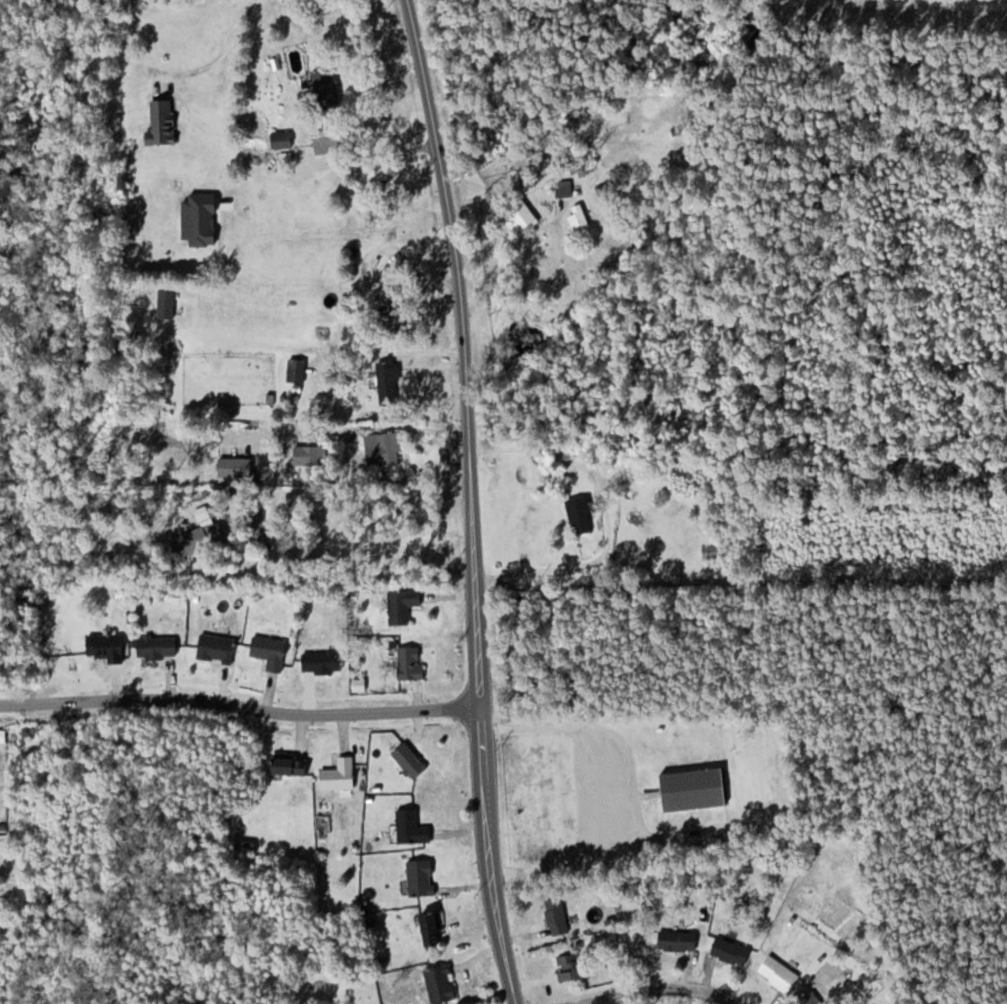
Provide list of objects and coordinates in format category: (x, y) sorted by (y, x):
road: (221, 55)
building: (327, 82)
building: (164, 121)
building: (283, 138)
building: (579, 217)
building: (522, 218)
building: (397, 304)
building: (164, 306)
building: (298, 369)
building: (391, 378)
building: (318, 407)
building: (386, 450)
building: (311, 454)
building: (240, 467)
road: (472, 500)
building: (582, 514)
building: (202, 538)
building: (715, 550)
building: (404, 604)
building: (108, 646)
building: (159, 646)
building: (218, 647)
building: (272, 651)
building: (324, 661)
building: (412, 662)
road: (240, 706)
building: (411, 760)
building: (292, 765)
building: (341, 775)
building: (695, 789)
building: (413, 827)
building: (422, 877)
building: (558, 917)
building: (433, 928)
building: (679, 940)
building: (732, 951)
building: (572, 966)
building: (780, 974)
building: (442, 983)
road: (657, 983)
building: (813, 999)

